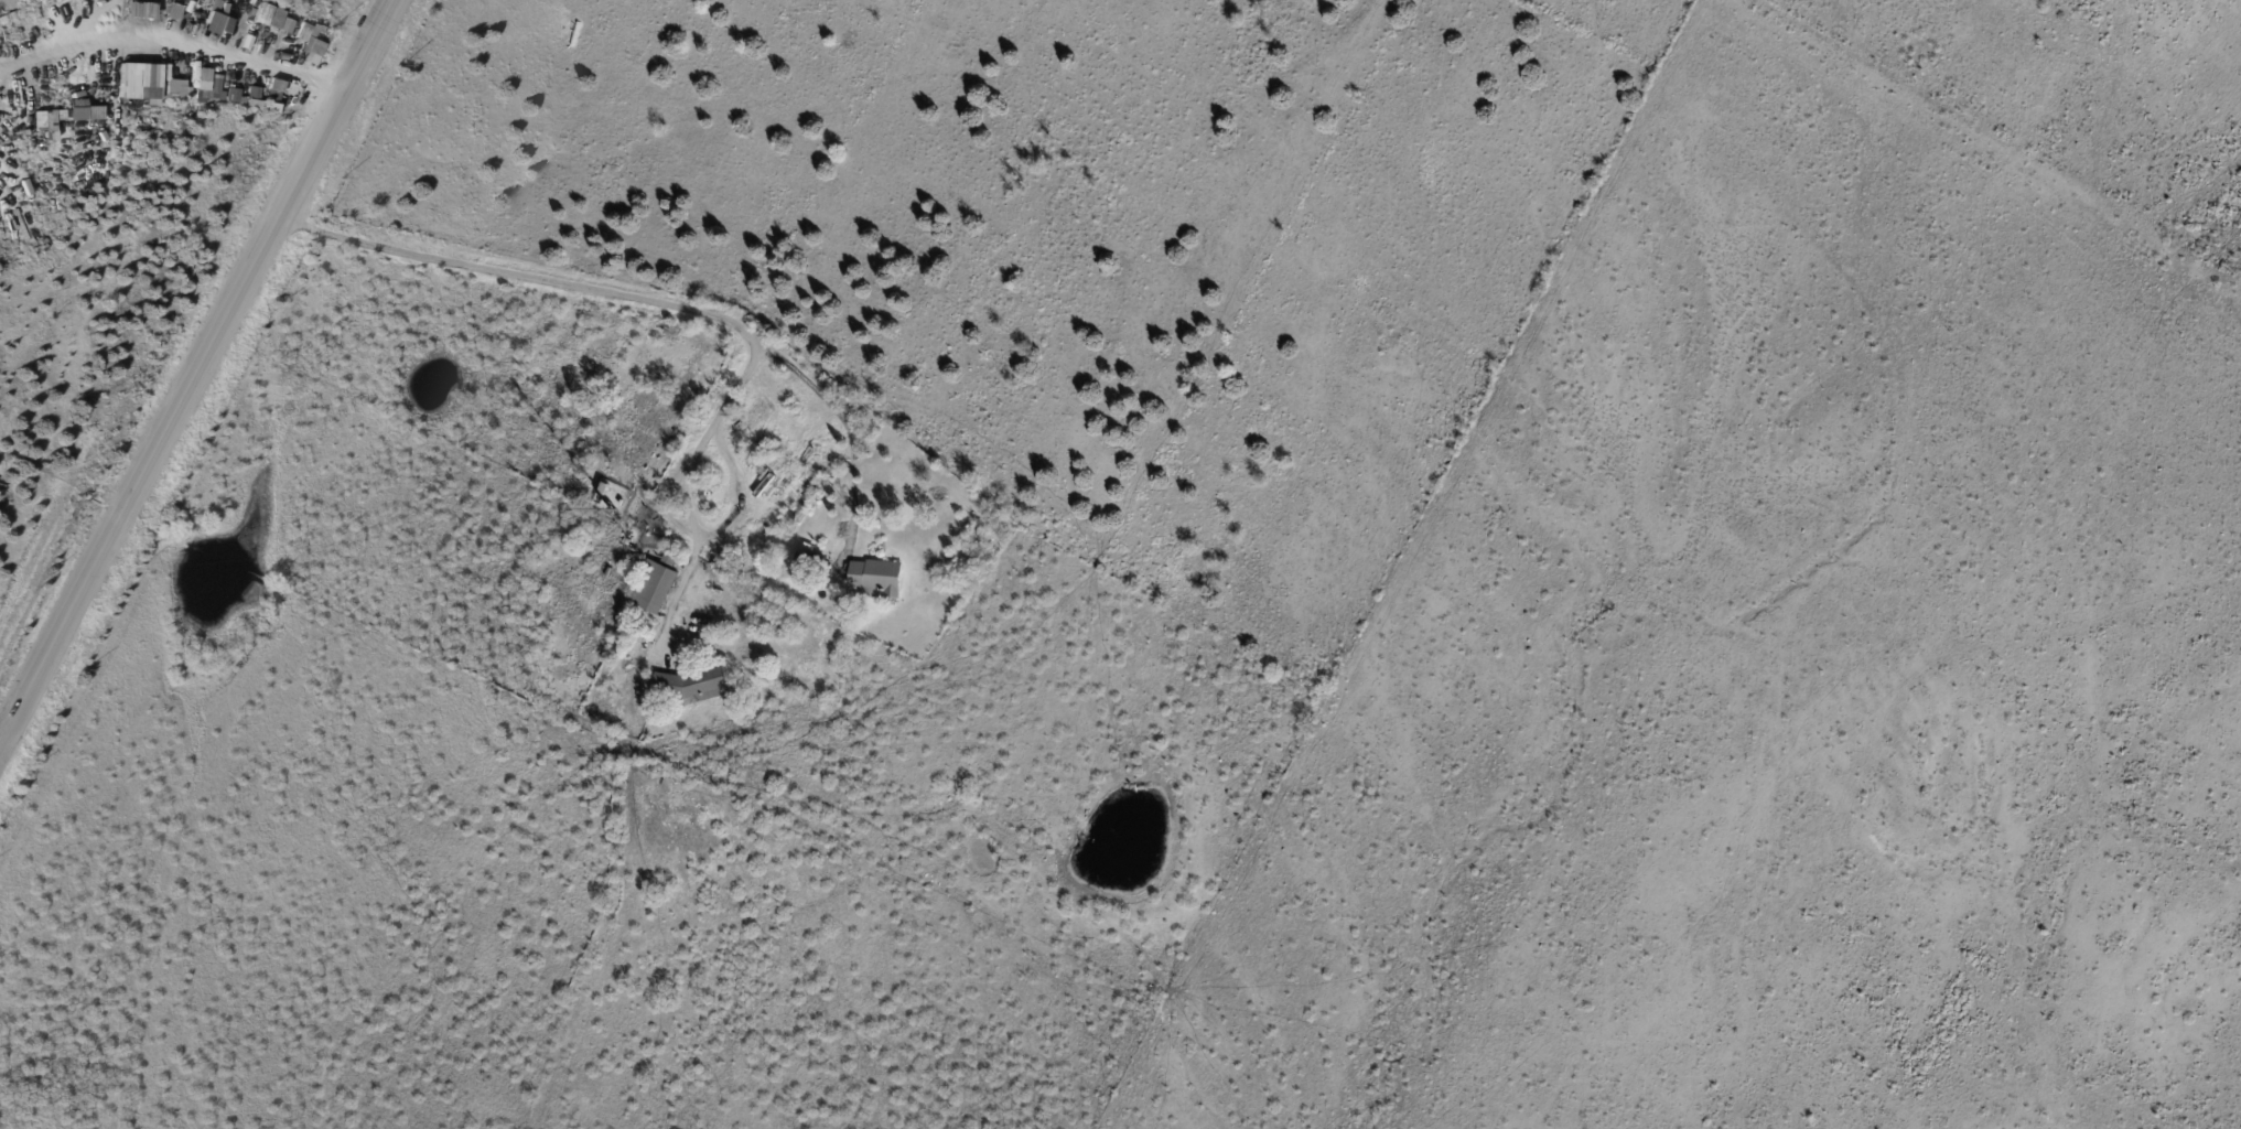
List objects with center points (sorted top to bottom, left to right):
building: (215, 6)
building: (172, 11)
building: (97, 13)
building: (190, 18)
building: (272, 18)
building: (212, 23)
road: (207, 42)
building: (144, 83)
road: (521, 279)
road: (195, 367)
road: (848, 433)
road: (689, 482)
building: (605, 488)
building: (607, 505)
building: (810, 562)
building: (879, 579)
building: (657, 584)
building: (762, 593)
building: (692, 688)

